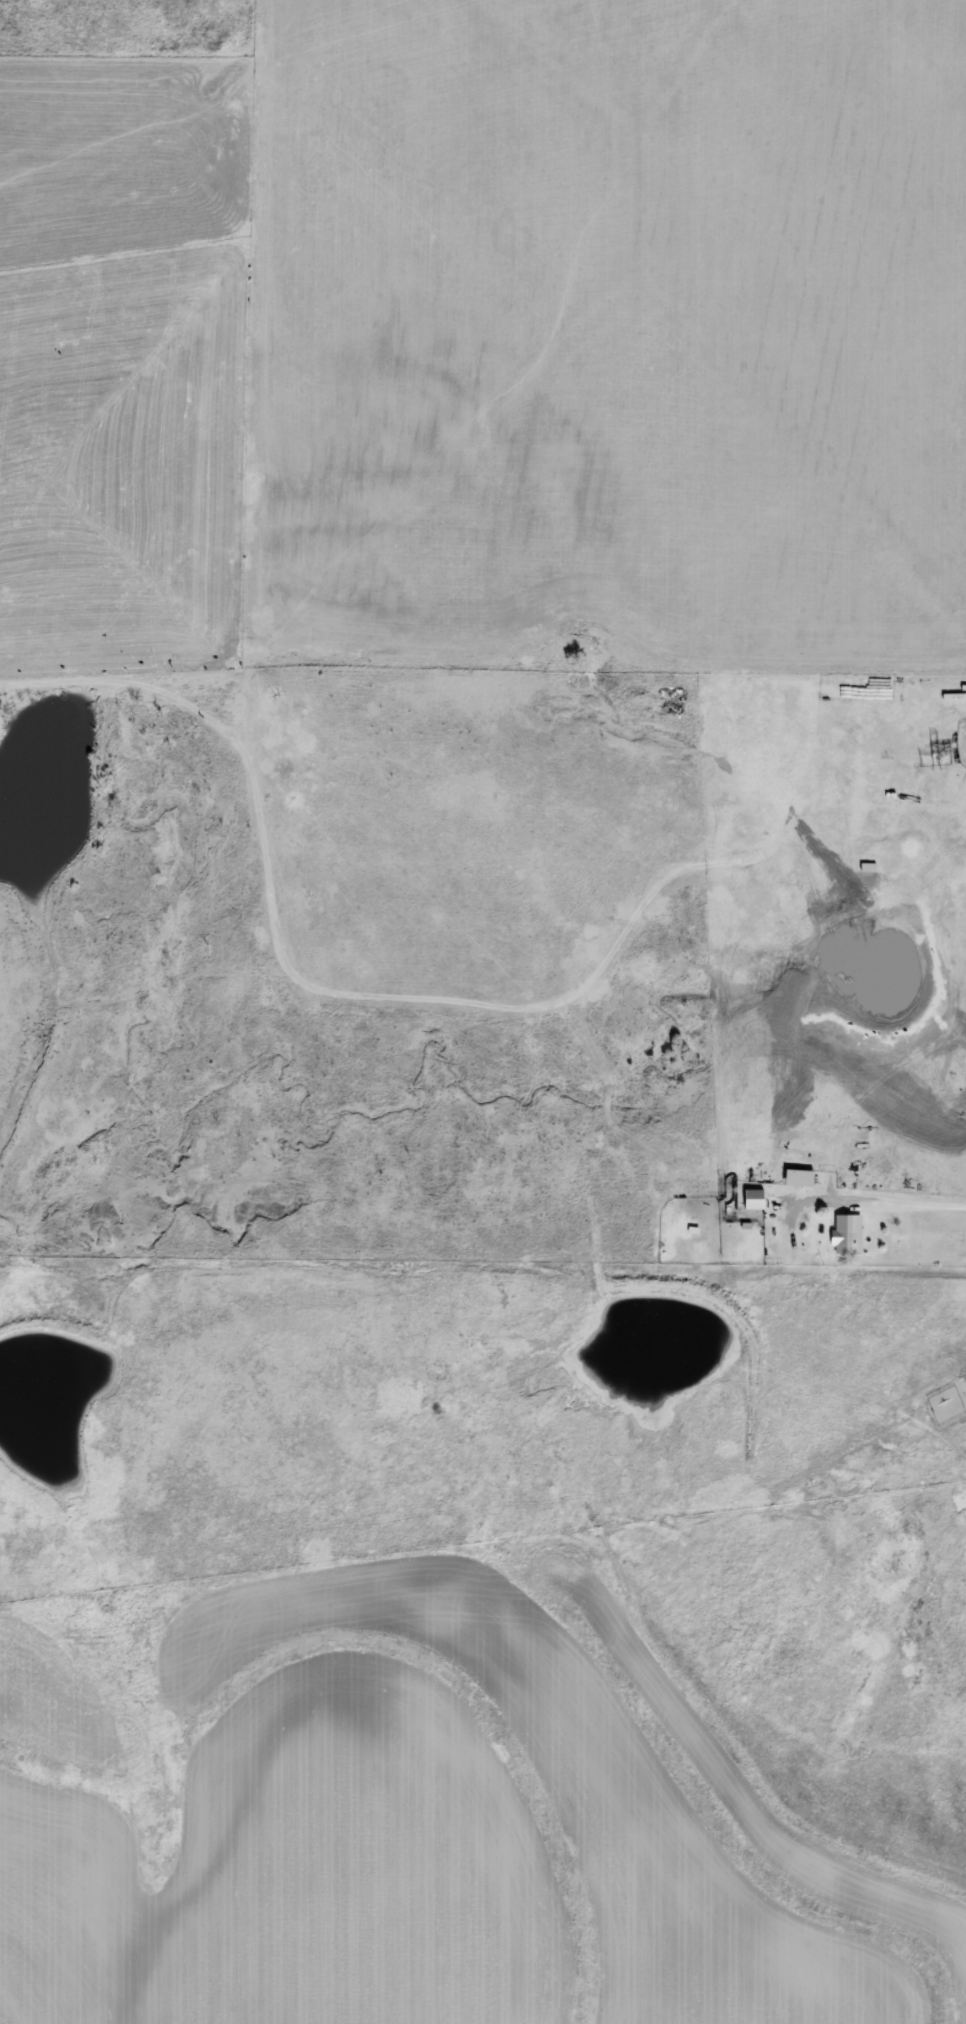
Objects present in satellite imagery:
building: (749, 1199)
building: (844, 1235)

